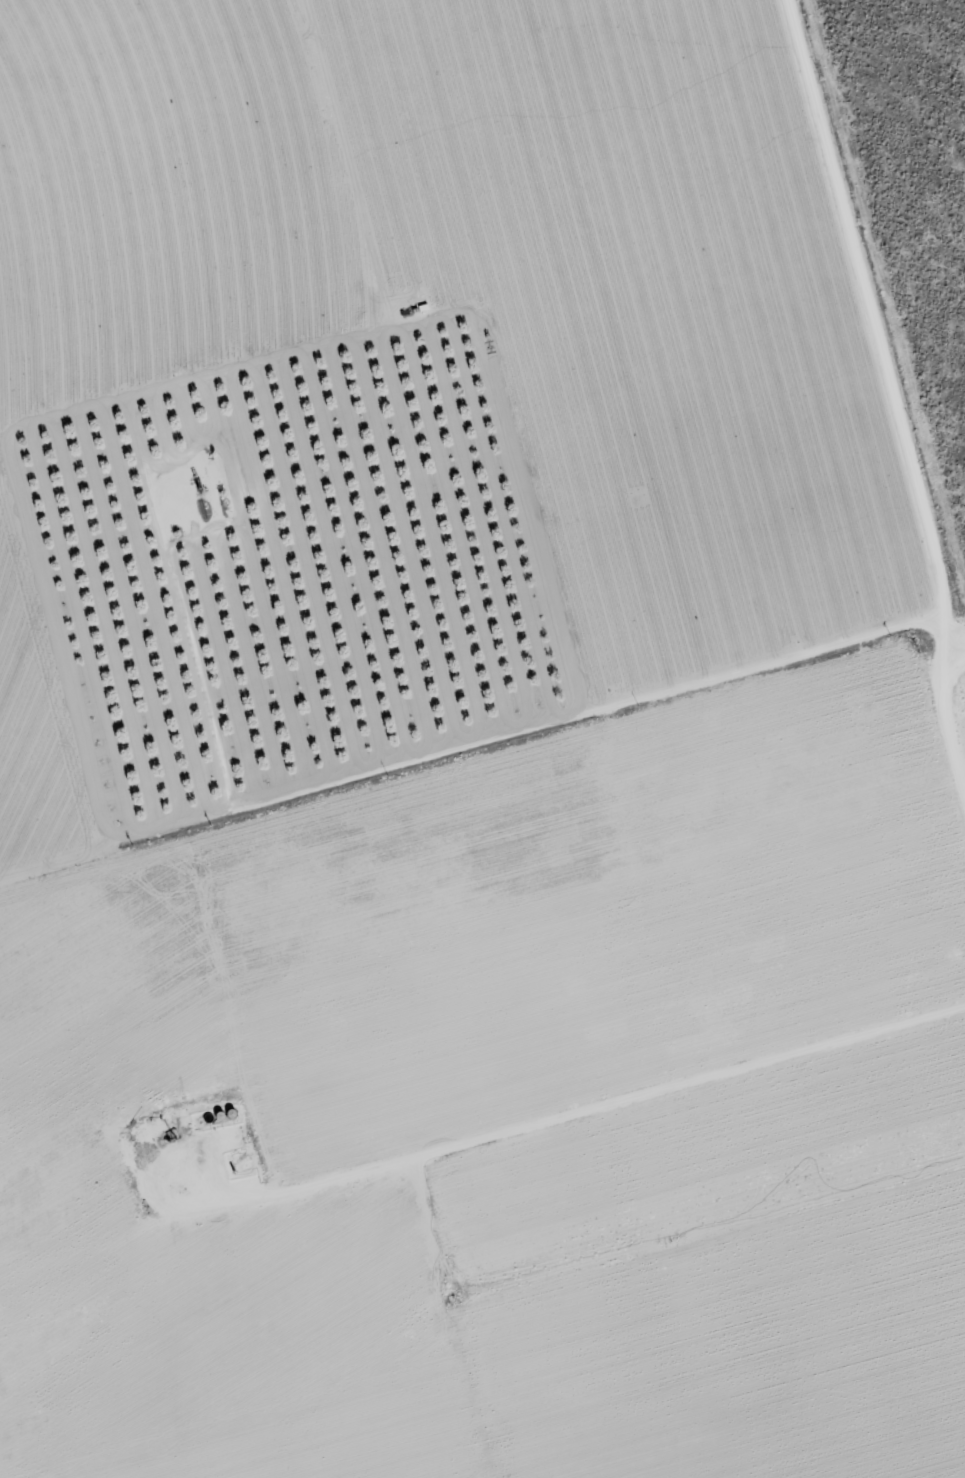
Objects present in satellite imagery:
road: (846, 349)
road: (956, 693)
road: (951, 767)

